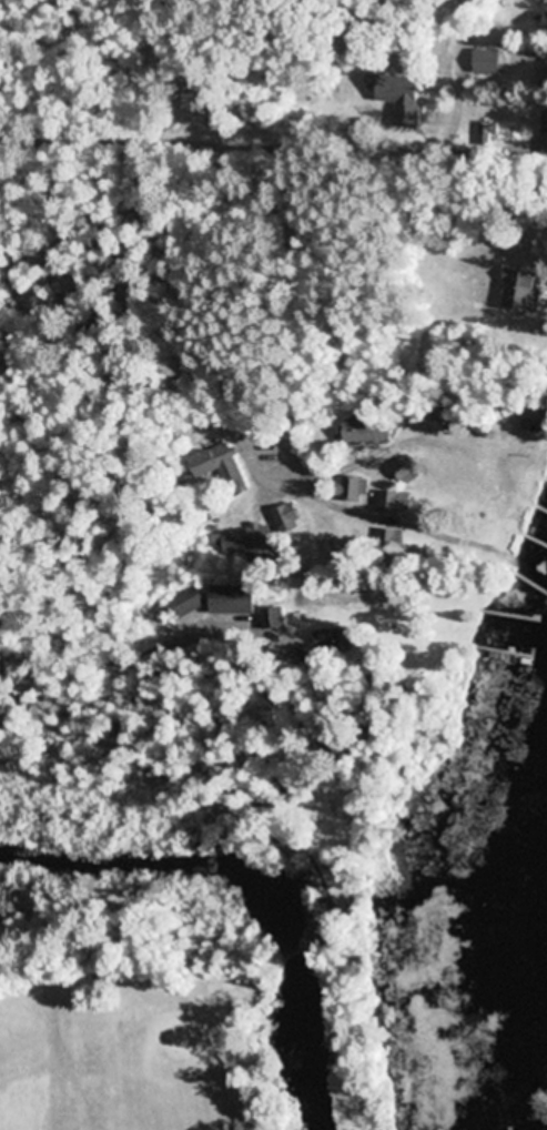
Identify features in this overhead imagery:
building: (545, 0)
road: (188, 48)
building: (489, 60)
building: (395, 92)
building: (545, 131)
road: (62, 307)
road: (267, 421)
building: (369, 431)
building: (223, 466)
building: (290, 516)
building: (242, 547)
building: (235, 598)
building: (186, 603)
road: (207, 727)
park: (243, 798)
river: (174, 839)
dam: (298, 945)
river: (305, 1037)

